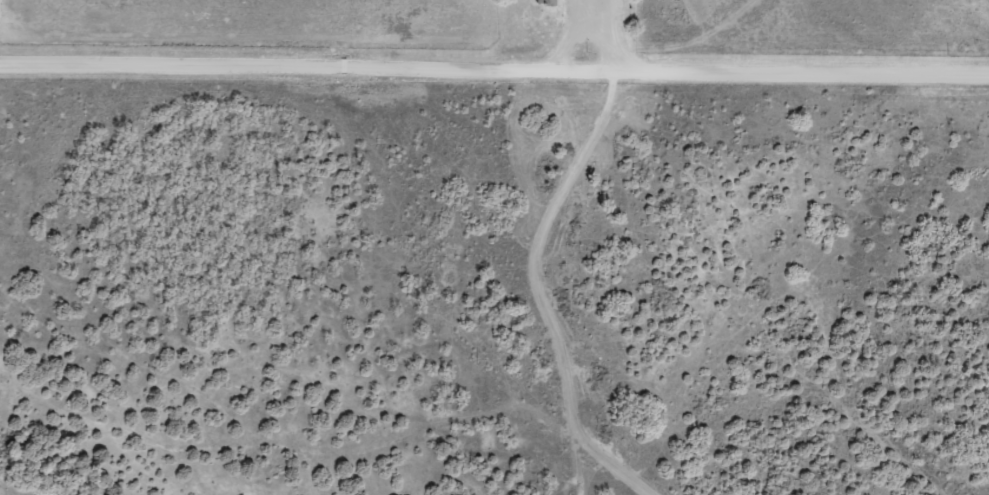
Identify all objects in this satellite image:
building: (542, 3)
road: (494, 83)

